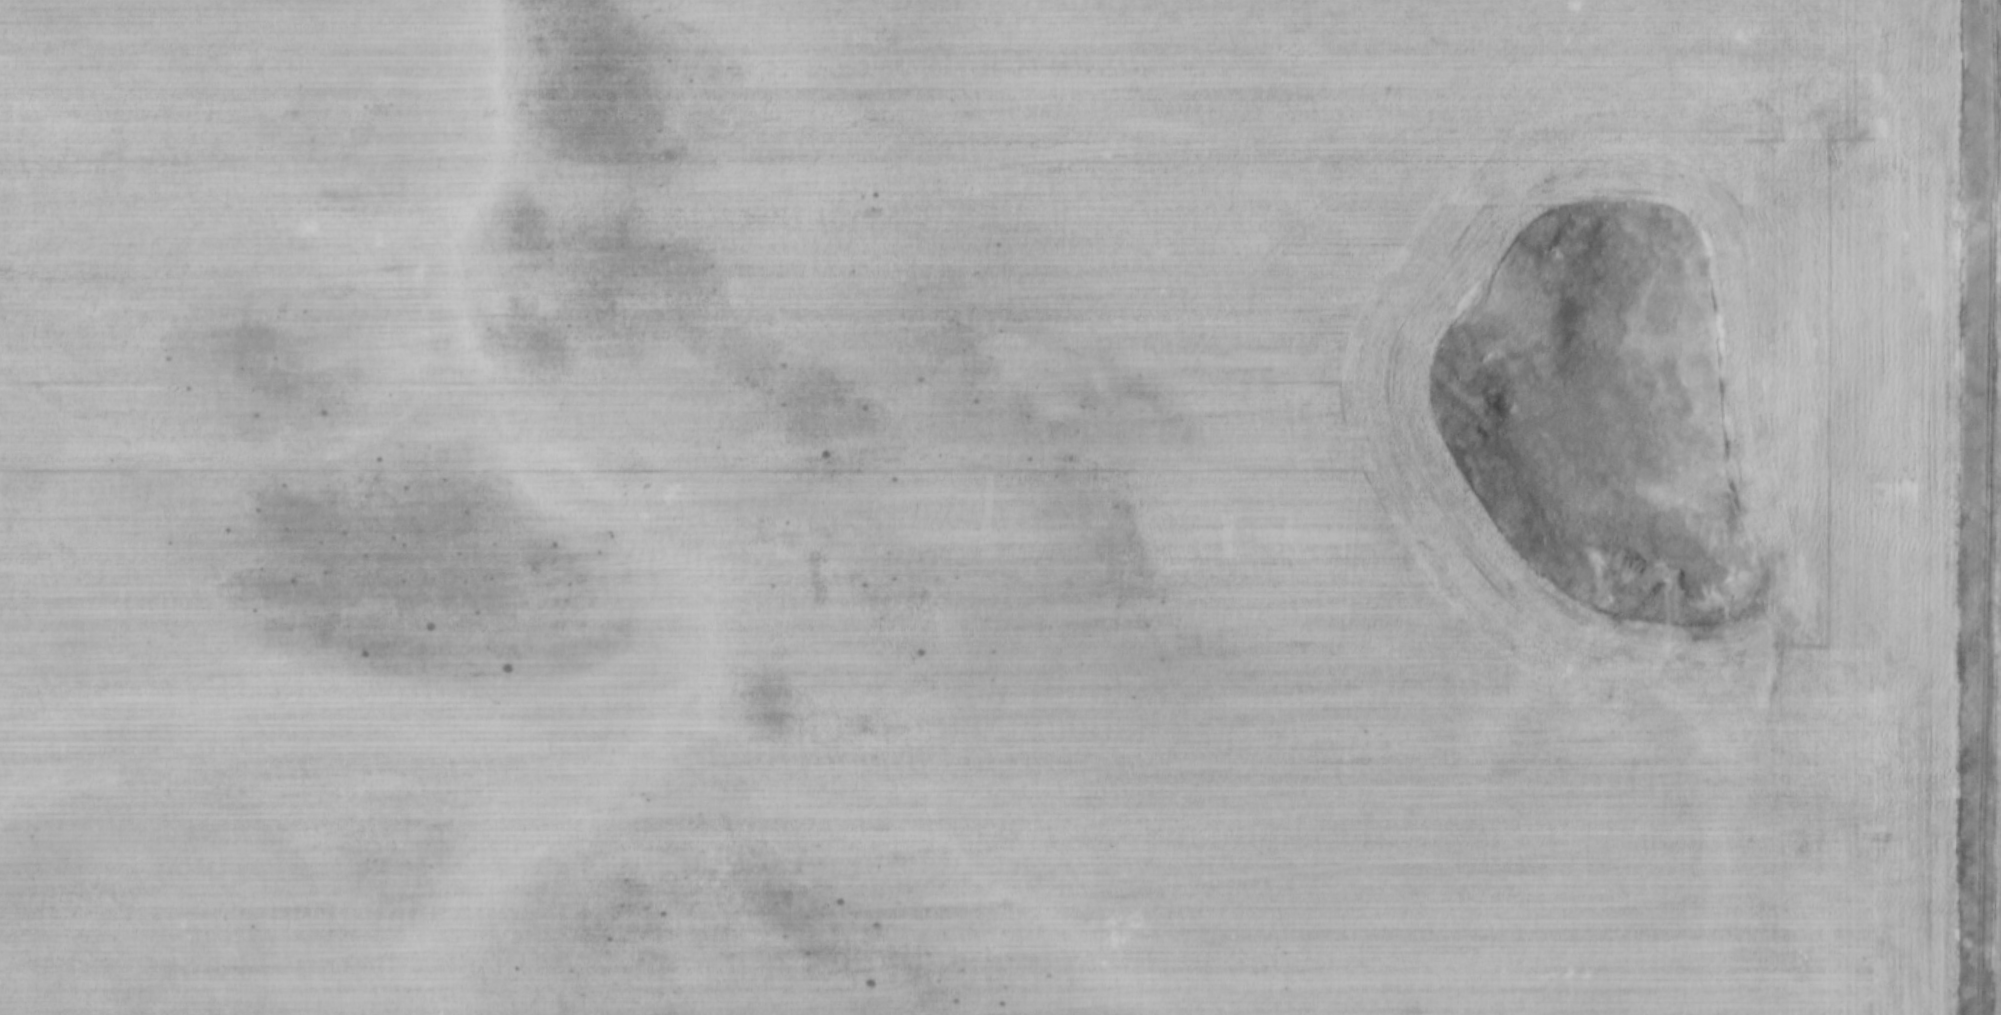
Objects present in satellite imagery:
road: (1986, 507)

